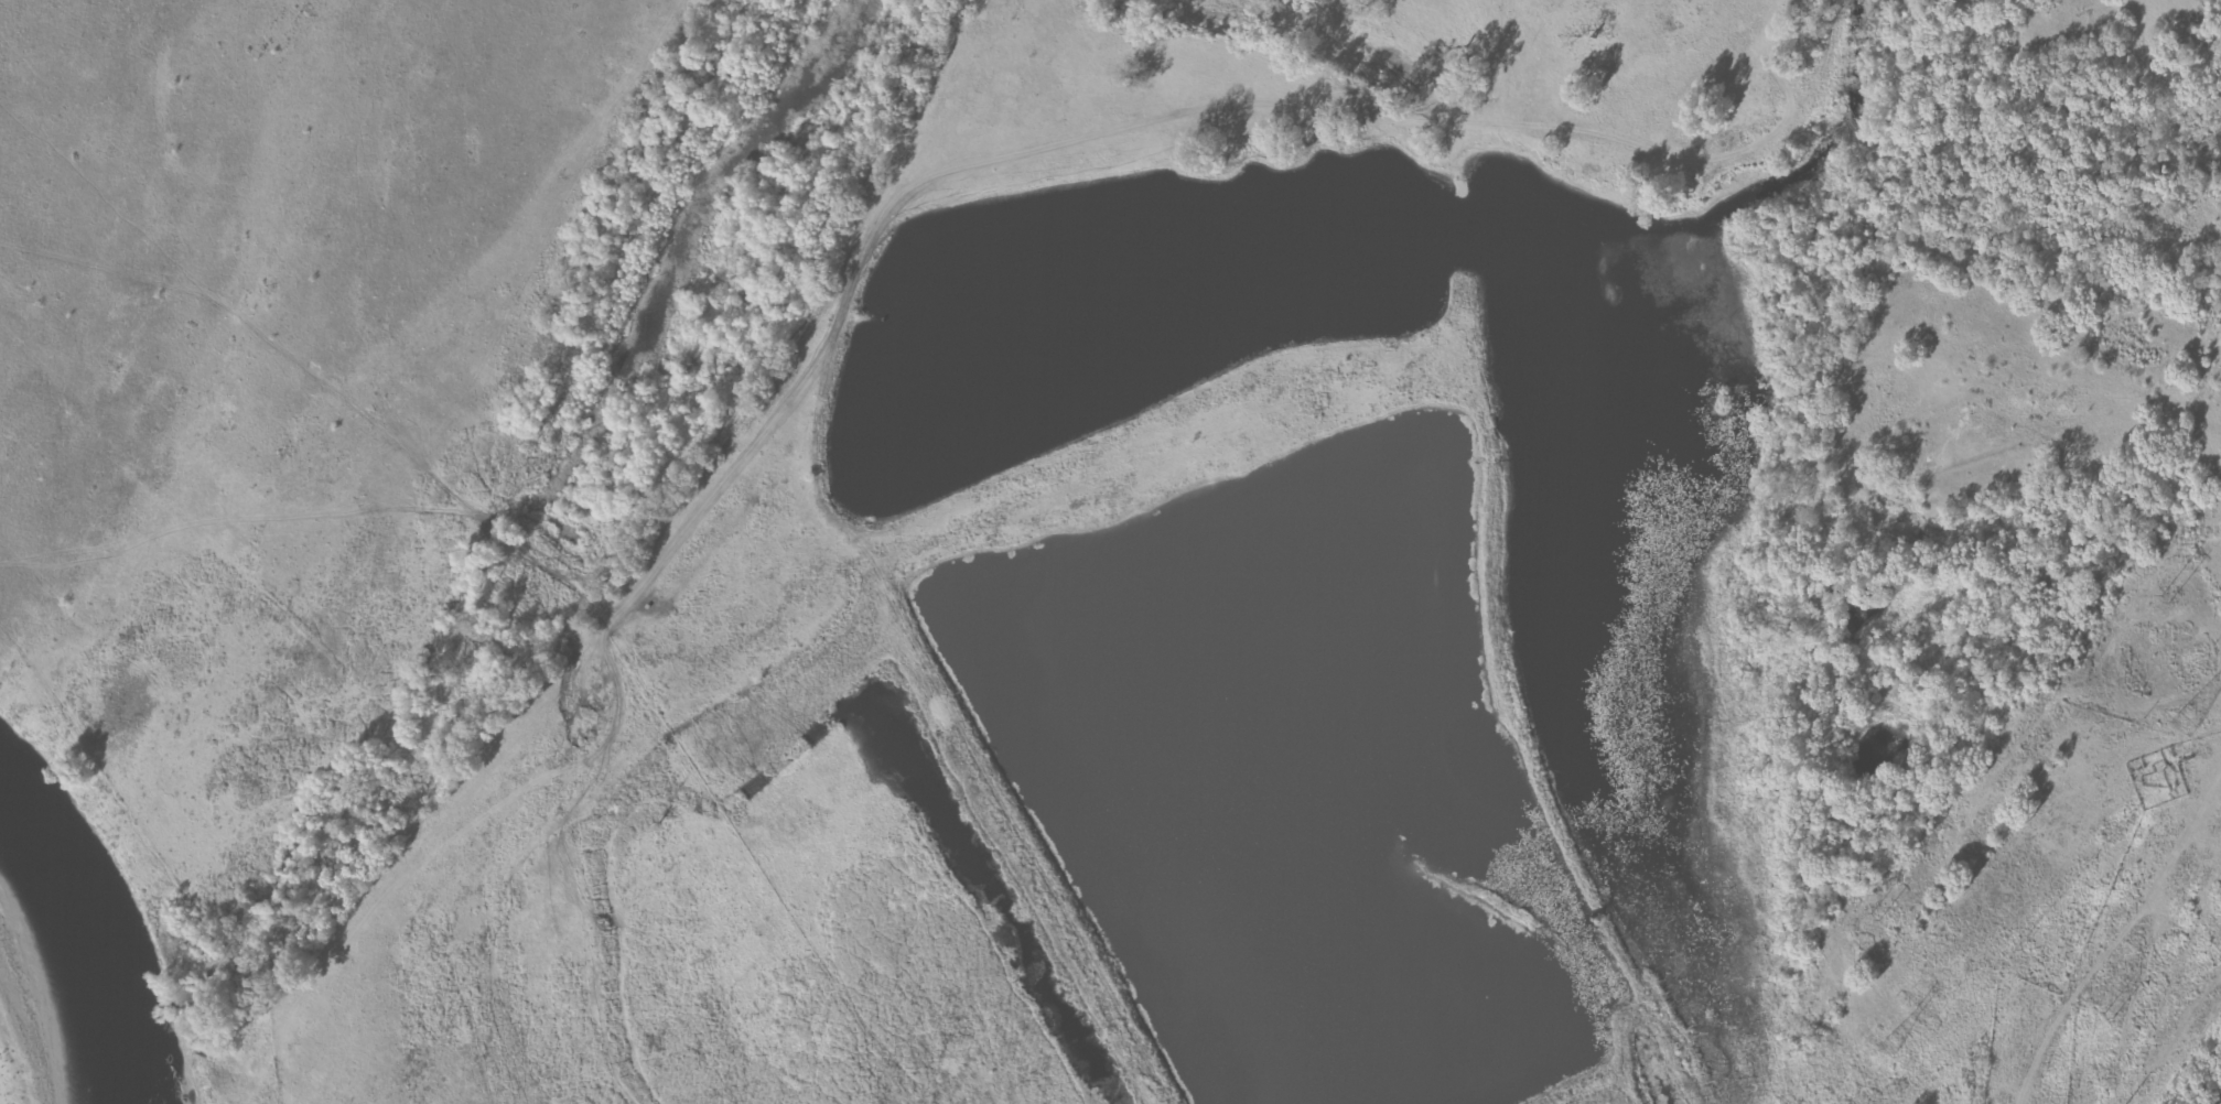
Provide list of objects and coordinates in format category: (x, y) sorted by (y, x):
power tower: (2167, 595)
power tower: (2192, 724)
power tower: (1877, 916)
power tower: (2109, 1015)
power tower: (1893, 1045)

